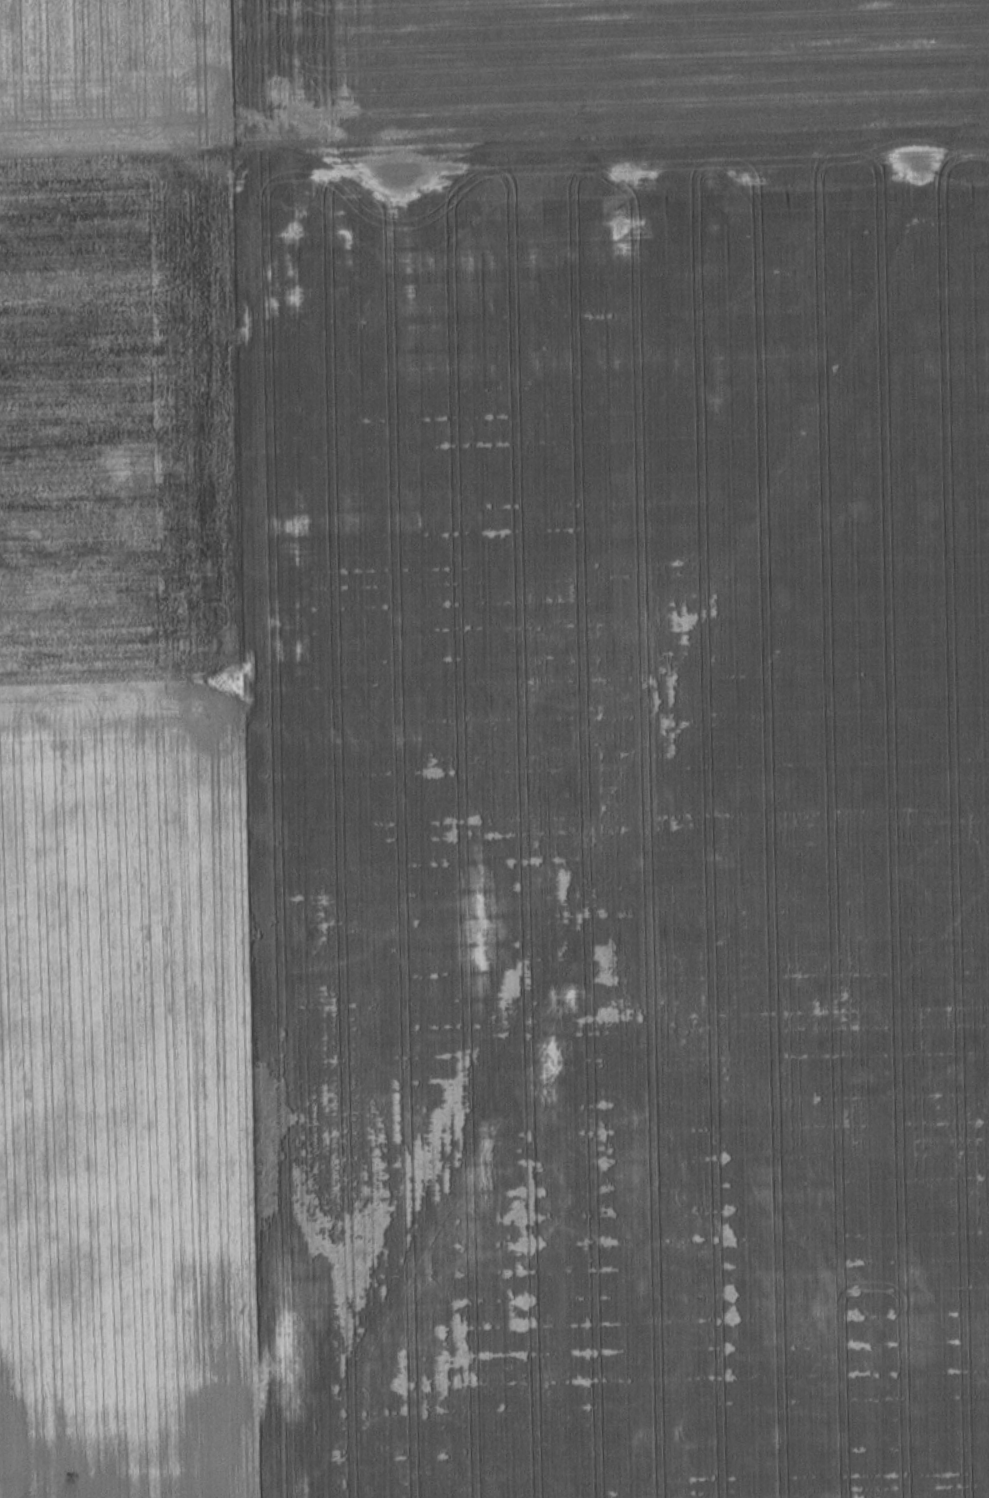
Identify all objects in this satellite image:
crop: (594, 67)
crop: (112, 76)
crop: (616, 812)
crop: (120, 837)

